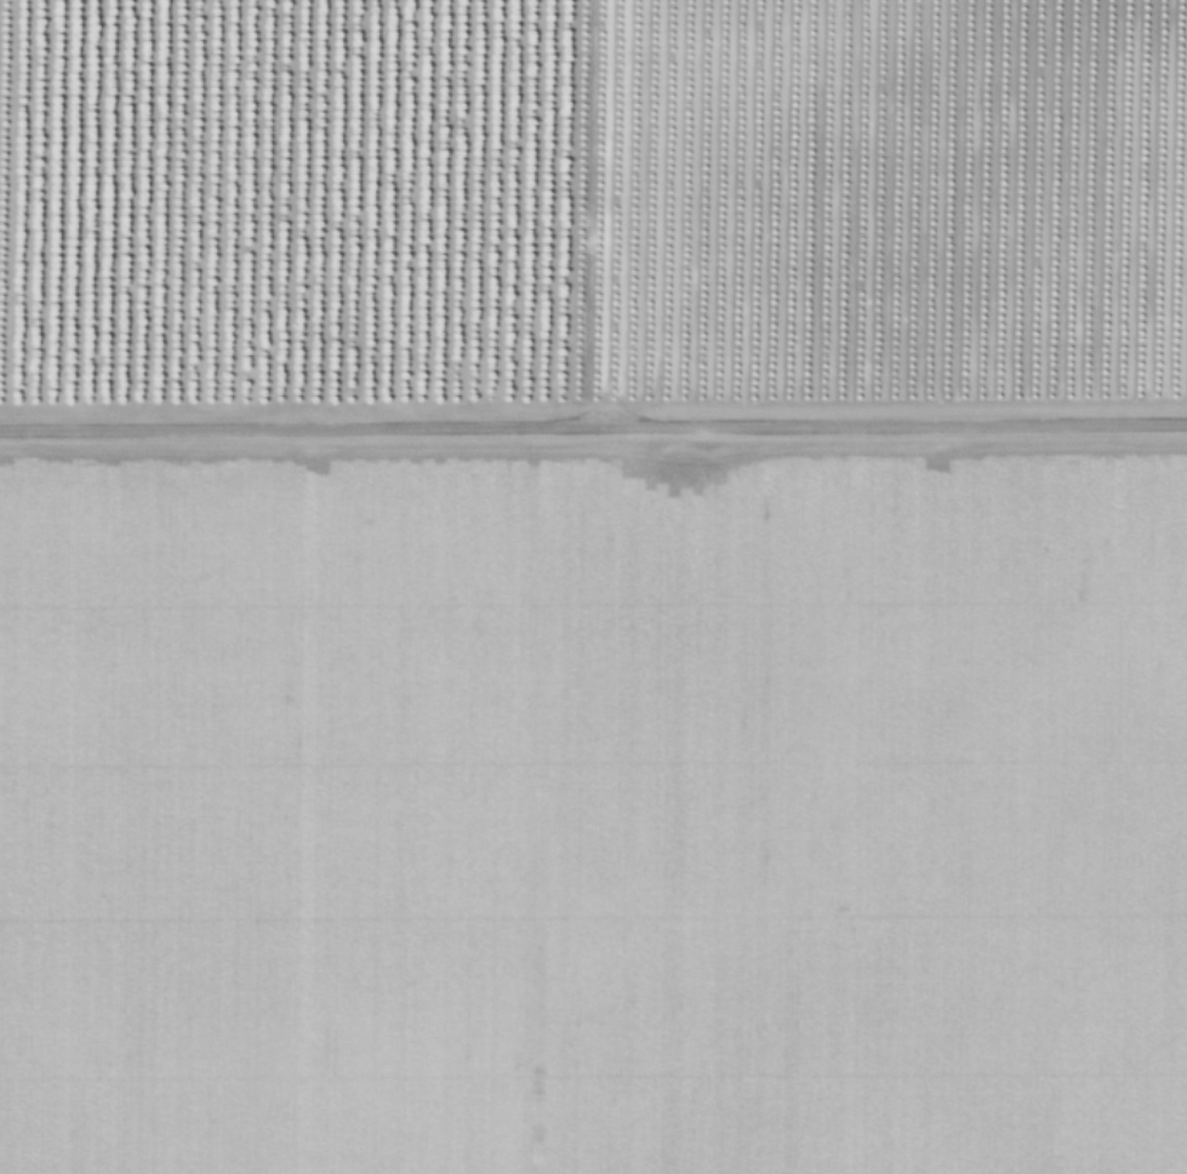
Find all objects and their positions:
crop: (593, 587)

